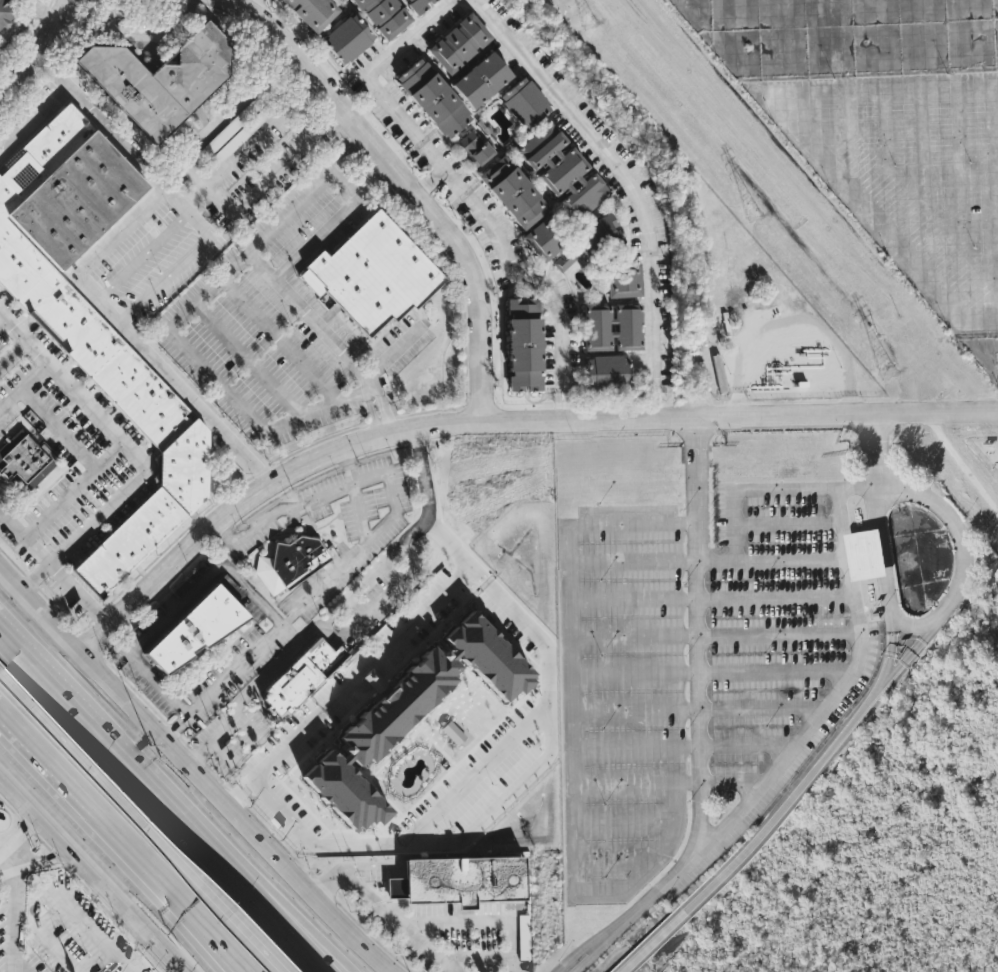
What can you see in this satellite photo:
road: (236, 4)
building: (417, 5)
building: (6, 11)
building: (312, 12)
road: (38, 15)
building: (383, 15)
power tower: (589, 22)
road: (18, 33)
road: (135, 33)
building: (347, 39)
building: (458, 43)
road: (397, 52)
road: (43, 53)
road: (52, 73)
building: (480, 79)
building: (166, 84)
building: (432, 97)
building: (523, 102)
parking lot: (885, 117)
road: (107, 129)
road: (200, 141)
road: (250, 146)
parking lot: (255, 146)
building: (473, 148)
road: (290, 162)
road: (836, 165)
building: (561, 170)
road: (403, 181)
road: (631, 183)
road: (436, 184)
building: (512, 192)
power tower: (753, 214)
building: (598, 235)
building: (542, 240)
road: (315, 241)
road: (499, 243)
road: (144, 256)
building: (563, 260)
parking lot: (154, 265)
road: (178, 269)
building: (377, 279)
building: (622, 280)
road: (2, 319)
building: (97, 322)
parking lot: (285, 324)
road: (166, 327)
building: (612, 327)
road: (136, 334)
road: (327, 337)
parking lot: (4, 341)
road: (279, 341)
building: (523, 344)
road: (14, 355)
road: (388, 357)
road: (247, 360)
building: (606, 370)
building: (718, 373)
power tower: (886, 373)
road: (24, 386)
road: (934, 412)
road: (438, 426)
road: (59, 427)
road: (861, 448)
road: (133, 452)
road: (874, 454)
road: (682, 456)
road: (709, 456)
building: (26, 460)
road: (347, 468)
road: (73, 488)
road: (858, 488)
road: (752, 491)
road: (788, 525)
road: (439, 534)
road: (952, 536)
road: (371, 545)
road: (885, 550)
building: (864, 556)
road: (773, 561)
road: (634, 563)
building: (293, 567)
road: (55, 568)
road: (412, 568)
road: (777, 596)
road: (166, 598)
road: (635, 599)
road: (175, 612)
road: (909, 623)
building: (196, 630)
road: (780, 632)
road: (699, 634)
road: (635, 636)
road: (891, 641)
road: (913, 649)
road: (359, 670)
road: (778, 670)
road: (635, 672)
road: (874, 672)
parking lot: (696, 676)
building: (306, 681)
road: (839, 691)
road: (255, 696)
road: (763, 707)
road: (635, 708)
building: (411, 714)
road: (50, 733)
road: (97, 737)
road: (572, 740)
road: (747, 745)
road: (636, 747)
road: (25, 758)
road: (829, 760)
road: (195, 768)
road: (477, 775)
road: (731, 782)
road: (635, 783)
road: (625, 819)
road: (21, 837)
road: (618, 859)
road: (44, 861)
road: (6, 864)
road: (133, 871)
road: (89, 873)
road: (189, 878)
building: (458, 880)
road: (356, 884)
road: (690, 905)
road: (257, 907)
road: (270, 907)
road: (10, 917)
road: (640, 917)
road: (480, 921)
road: (89, 928)
building: (523, 937)
road: (428, 946)
road: (58, 949)
road: (475, 954)
road: (217, 967)
road: (218, 967)
road: (13, 971)

